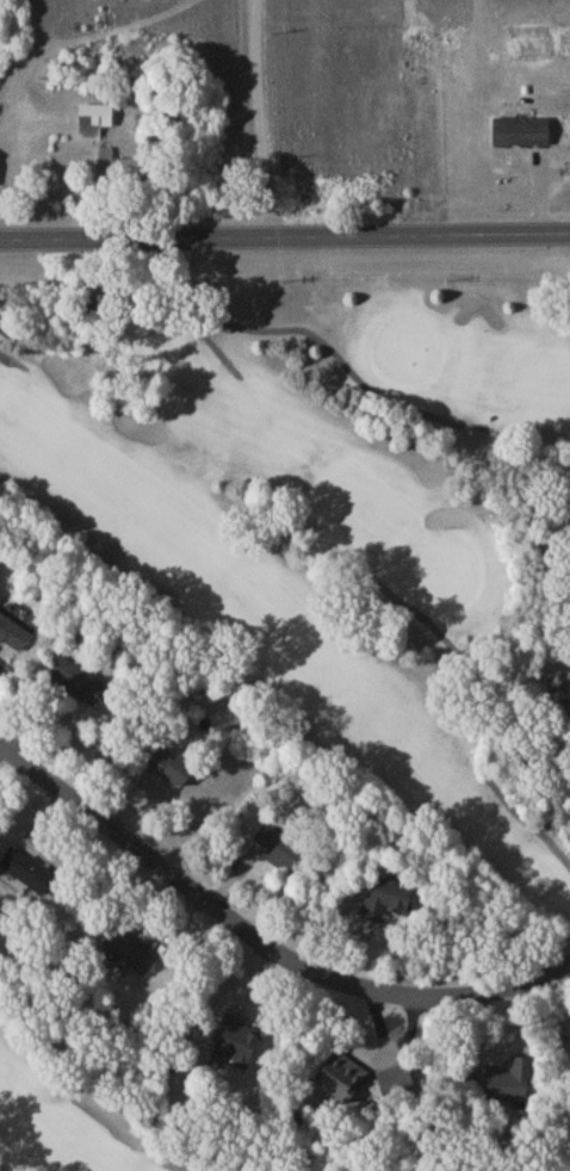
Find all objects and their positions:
building: (12, 33)
building: (439, 83)
road: (260, 120)
building: (97, 124)
building: (523, 135)
road: (13, 147)
building: (124, 173)
road: (29, 182)
road: (285, 240)
road: (314, 337)
road: (210, 346)
road: (12, 363)
building: (14, 637)
building: (79, 686)
park: (285, 718)
building: (180, 773)
road: (528, 825)
building: (283, 853)
building: (30, 874)
building: (386, 903)
road: (261, 941)
building: (130, 956)
building: (240, 1048)
building: (342, 1082)
building: (398, 1084)
building: (512, 1085)

